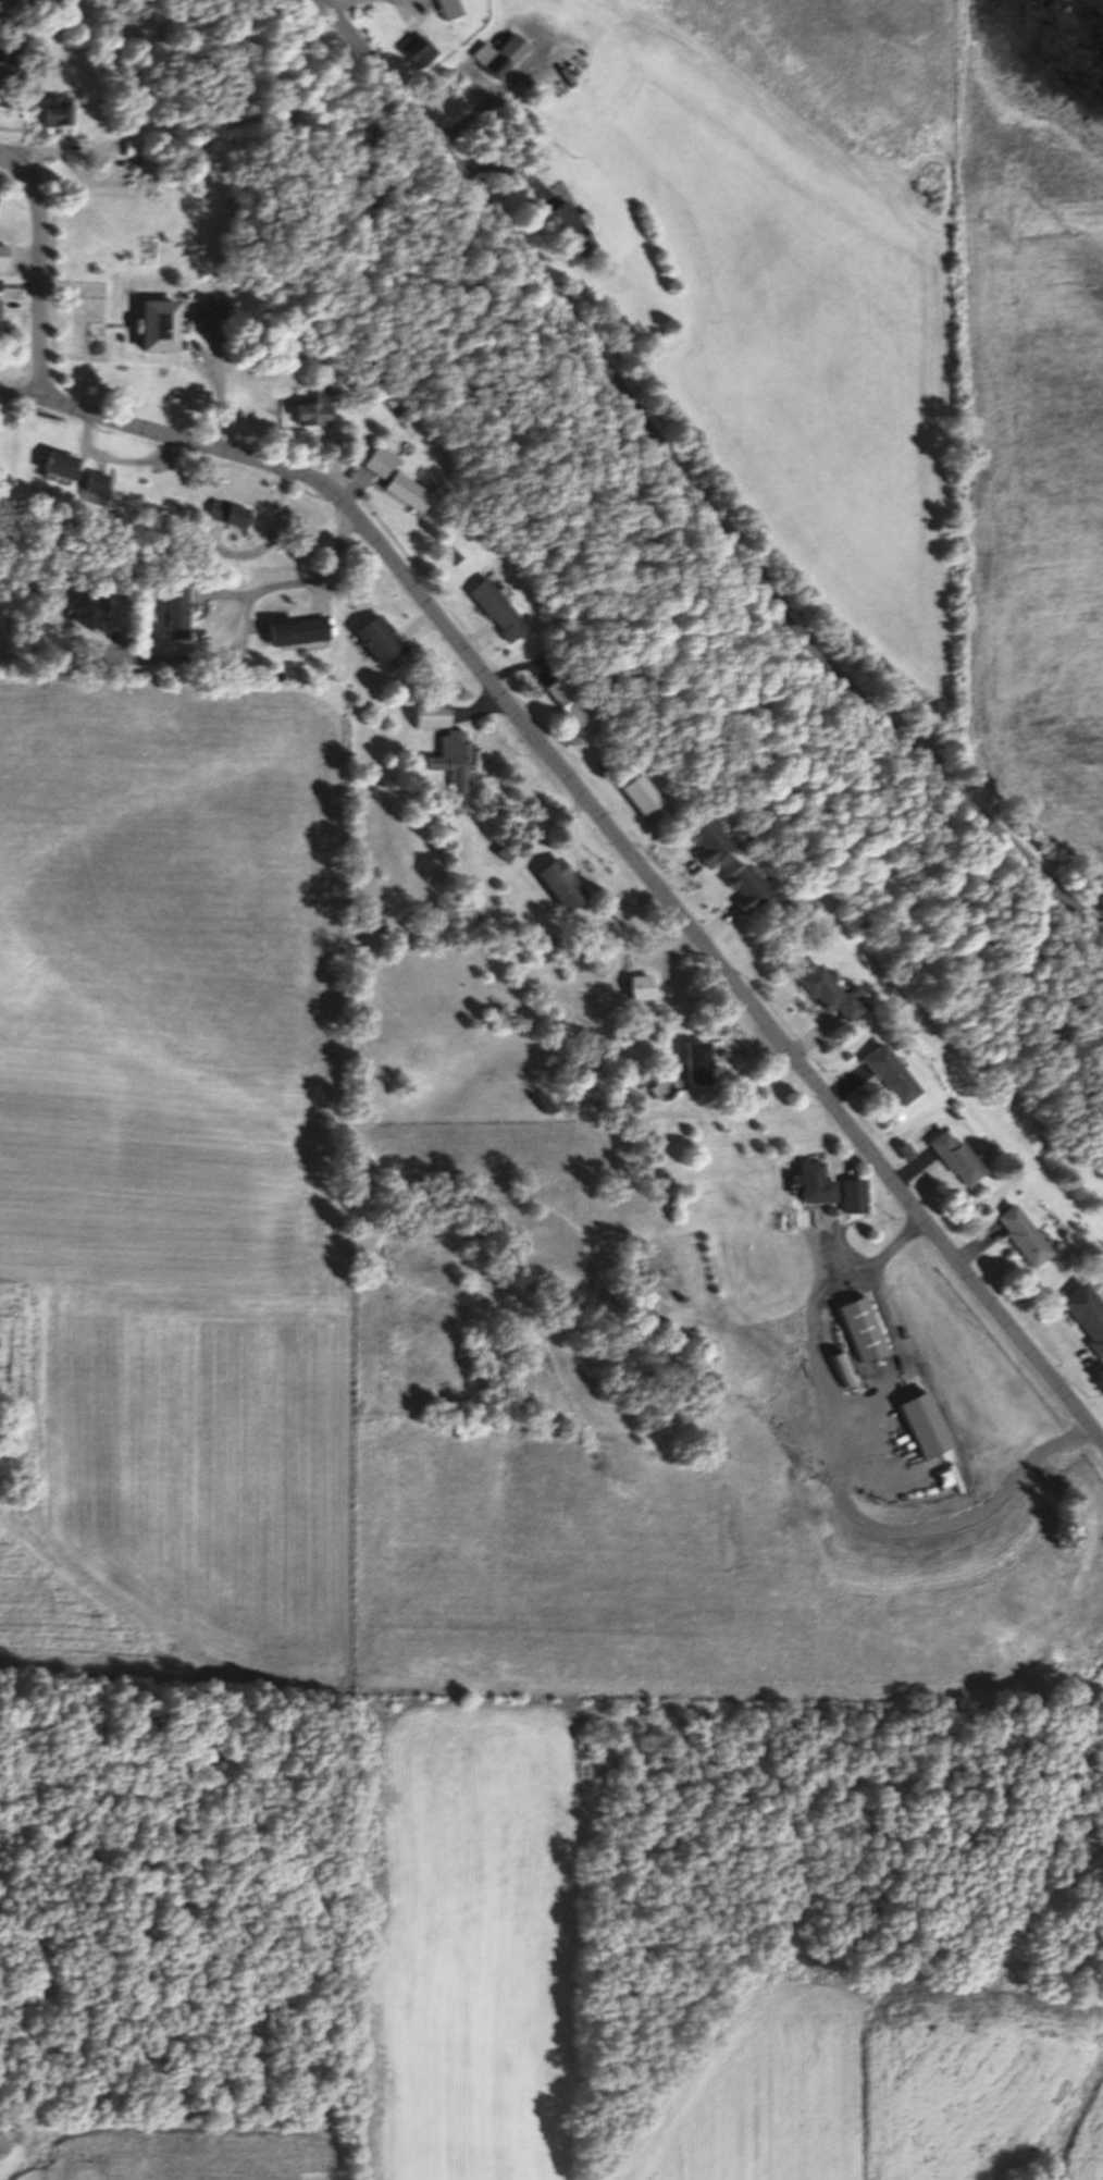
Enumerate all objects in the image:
road: (417, 0)
road: (339, 4)
building: (448, 8)
building: (416, 49)
building: (7, 53)
building: (498, 53)
building: (1, 108)
building: (54, 110)
road: (471, 120)
road: (10, 127)
building: (132, 146)
road: (49, 150)
road: (7, 158)
road: (507, 169)
road: (472, 187)
building: (569, 229)
building: (3, 251)
road: (40, 276)
building: (0, 313)
building: (152, 323)
road: (216, 369)
building: (310, 405)
road: (117, 458)
building: (375, 460)
building: (58, 464)
building: (94, 482)
building: (402, 490)
building: (227, 513)
road: (265, 541)
road: (219, 592)
road: (315, 592)
building: (494, 608)
building: (85, 609)
building: (172, 612)
road: (244, 614)
building: (293, 629)
building: (377, 639)
road: (838, 673)
building: (566, 698)
building: (433, 714)
building: (454, 758)
road: (609, 826)
building: (704, 840)
road: (587, 875)
building: (557, 884)
building: (743, 889)
building: (639, 986)
building: (826, 992)
building: (693, 1062)
building: (888, 1072)
road: (828, 1157)
building: (954, 1157)
building: (810, 1183)
building: (852, 1194)
building: (1023, 1236)
road: (871, 1265)
crop: (422, 1301)
building: (1086, 1316)
building: (856, 1329)

